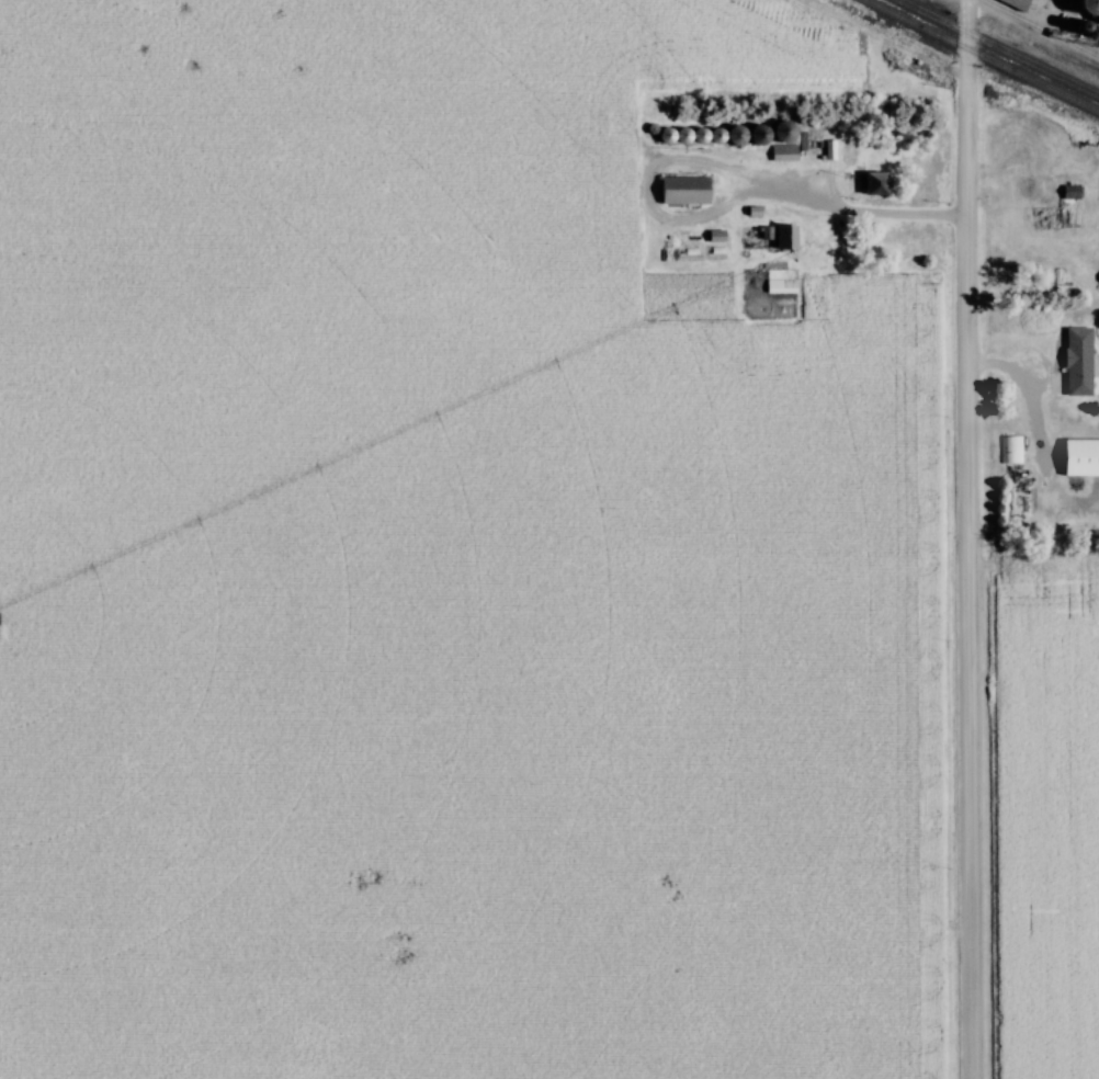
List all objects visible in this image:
railway: (1038, 29)
railway: (999, 47)
railway: (982, 56)
building: (789, 133)
building: (741, 136)
building: (764, 136)
building: (876, 184)
building: (676, 194)
road: (880, 218)
building: (718, 238)
building: (789, 238)
building: (1080, 361)
road: (1026, 382)
building: (1004, 454)
building: (1076, 461)
road: (960, 538)

